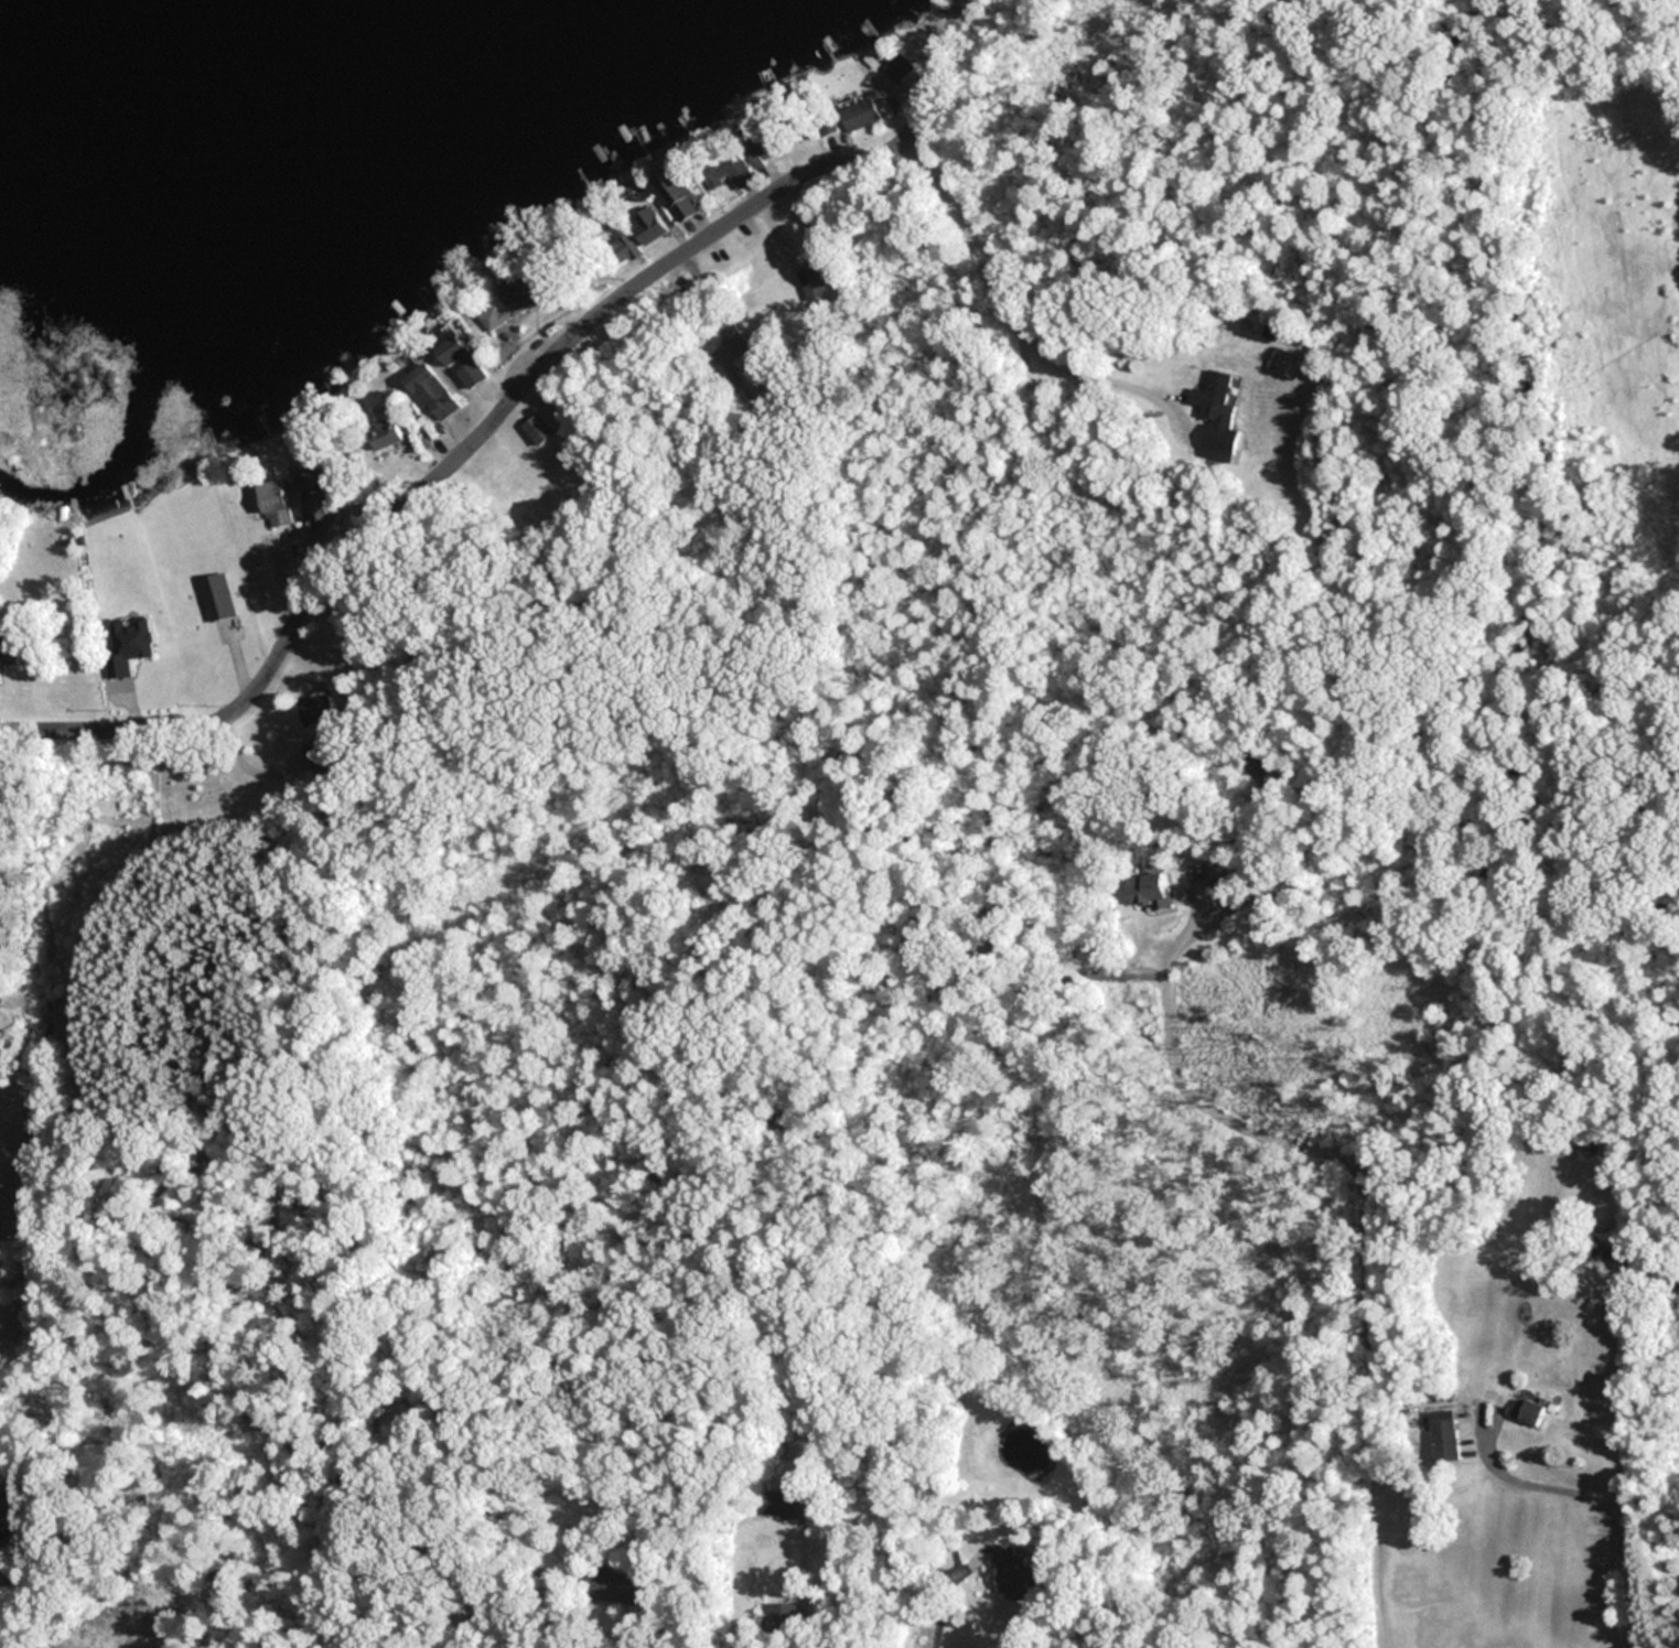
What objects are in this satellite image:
building: (900, 68)
building: (862, 115)
building: (764, 155)
building: (731, 172)
building: (680, 193)
building: (652, 223)
building: (626, 244)
building: (810, 282)
building: (517, 304)
road: (1003, 304)
building: (464, 358)
building: (746, 360)
building: (432, 390)
road: (499, 412)
building: (1214, 419)
building: (539, 430)
building: (386, 433)
building: (317, 485)
building: (275, 503)
building: (217, 595)
building: (129, 644)
building: (9, 645)
building: (317, 705)
building: (316, 752)
building: (1227, 884)
building: (1150, 890)
road: (1364, 1208)
building: (1527, 1410)
building: (1444, 1434)
road: (1595, 1505)
building: (789, 1506)
road: (9, 1538)
building: (1016, 1572)
building: (611, 1584)
road: (945, 1584)

